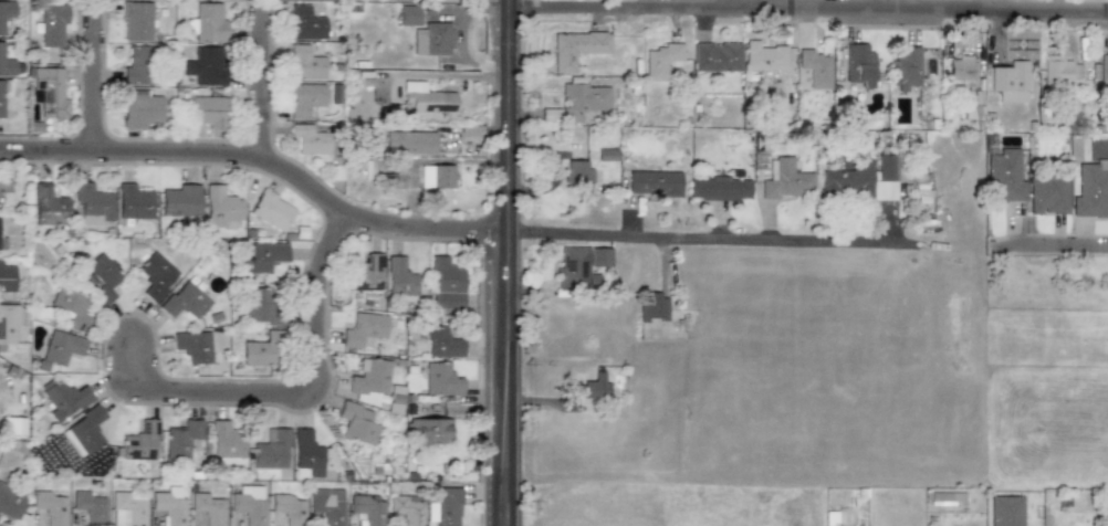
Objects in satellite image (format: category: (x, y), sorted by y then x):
road: (748, 4)
road: (989, 7)
road: (808, 10)
building: (6, 12)
building: (408, 14)
building: (136, 21)
building: (209, 23)
building: (52, 24)
building: (305, 24)
building: (431, 39)
building: (576, 48)
building: (715, 56)
building: (764, 56)
building: (660, 60)
building: (6, 63)
building: (305, 64)
building: (137, 65)
building: (205, 65)
building: (857, 65)
building: (905, 66)
building: (1104, 67)
building: (959, 70)
building: (812, 71)
building: (1058, 72)
road: (97, 78)
building: (1008, 82)
road: (262, 83)
building: (1, 97)
building: (426, 98)
building: (305, 99)
building: (582, 101)
building: (140, 111)
building: (207, 112)
building: (310, 139)
building: (409, 143)
road: (263, 161)
building: (576, 171)
building: (1004, 175)
building: (436, 176)
building: (886, 176)
building: (847, 178)
building: (786, 181)
building: (652, 183)
building: (718, 189)
building: (3, 190)
building: (1090, 191)
building: (1046, 194)
building: (179, 201)
building: (133, 202)
building: (93, 203)
building: (48, 206)
building: (220, 208)
building: (271, 211)
road: (631, 221)
road: (884, 225)
road: (703, 235)
building: (2, 243)
road: (1047, 251)
building: (262, 257)
building: (598, 257)
road: (665, 261)
road: (508, 262)
building: (574, 270)
building: (366, 273)
building: (156, 275)
building: (6, 277)
building: (98, 277)
building: (399, 277)
building: (446, 284)
building: (185, 301)
building: (262, 306)
building: (70, 307)
building: (652, 307)
building: (8, 324)
building: (363, 329)
building: (441, 344)
building: (192, 346)
building: (61, 347)
building: (261, 349)
building: (440, 380)
building: (369, 382)
building: (593, 388)
building: (63, 399)
road: (294, 399)
building: (414, 410)
building: (357, 423)
building: (12, 425)
building: (428, 431)
building: (180, 440)
building: (224, 441)
building: (140, 442)
building: (271, 450)
building: (306, 452)
building: (945, 498)
building: (10, 502)
building: (248, 504)
building: (169, 505)
building: (326, 505)
building: (49, 507)
building: (90, 507)
building: (443, 507)
building: (127, 508)
building: (208, 508)
building: (288, 508)
building: (367, 509)
building: (407, 509)
building: (1004, 511)

